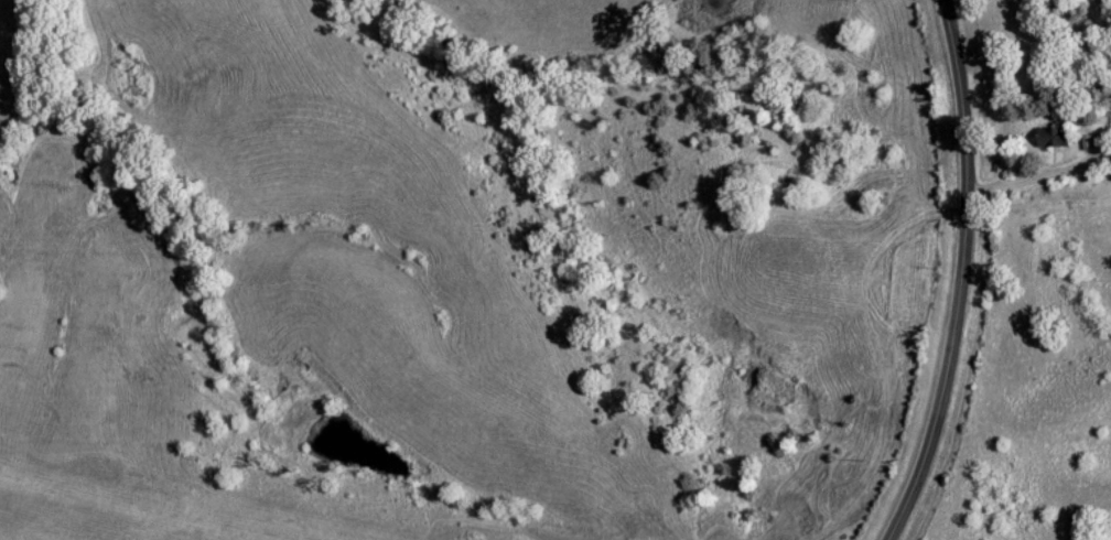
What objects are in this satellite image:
building: (1056, 137)
road: (962, 273)

